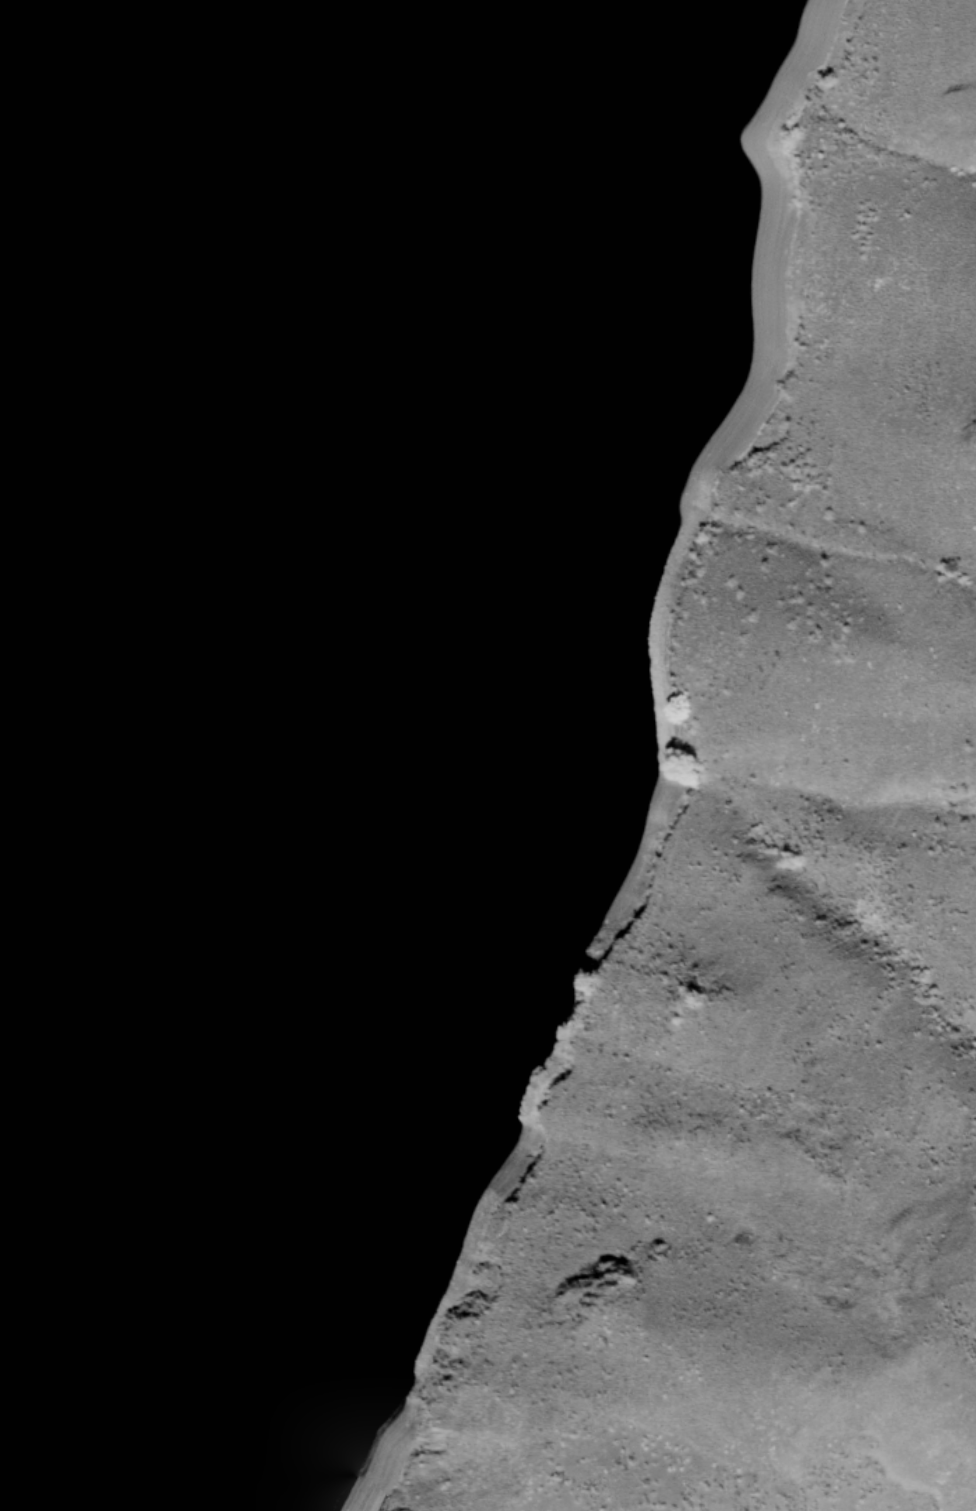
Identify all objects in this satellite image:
river: (225, 666)

